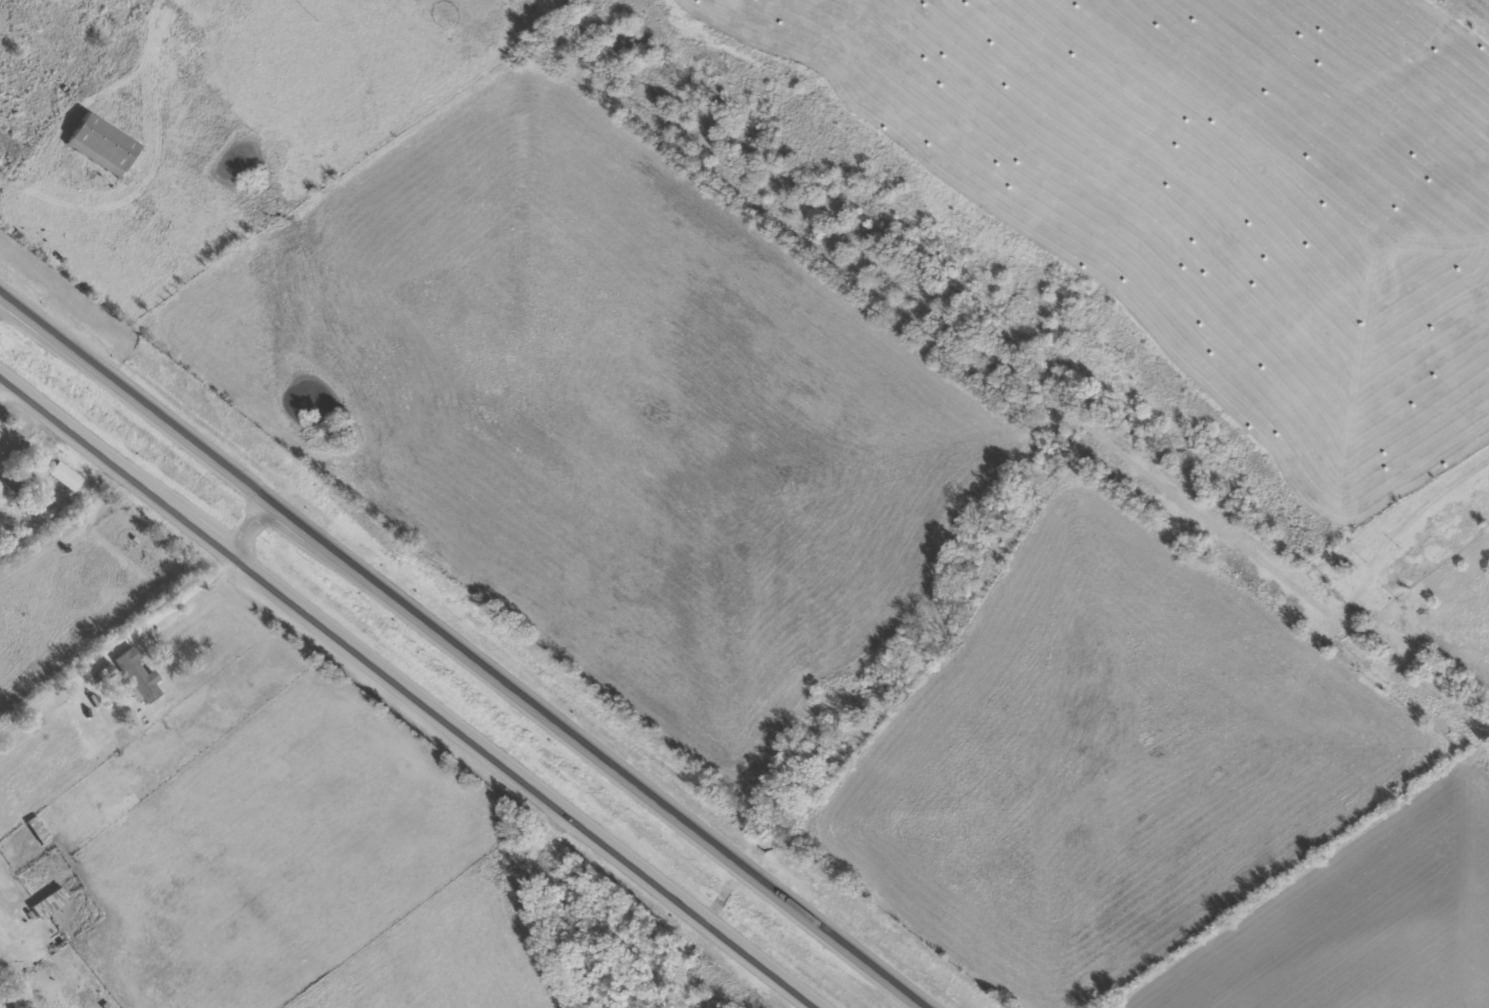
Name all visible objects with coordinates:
building: (102, 144)
railway: (1002, 372)
building: (64, 476)
building: (13, 485)
road: (248, 523)
road: (465, 650)
building: (105, 671)
building: (137, 675)
road: (411, 689)
building: (37, 832)
building: (48, 902)
road: (514, 905)

